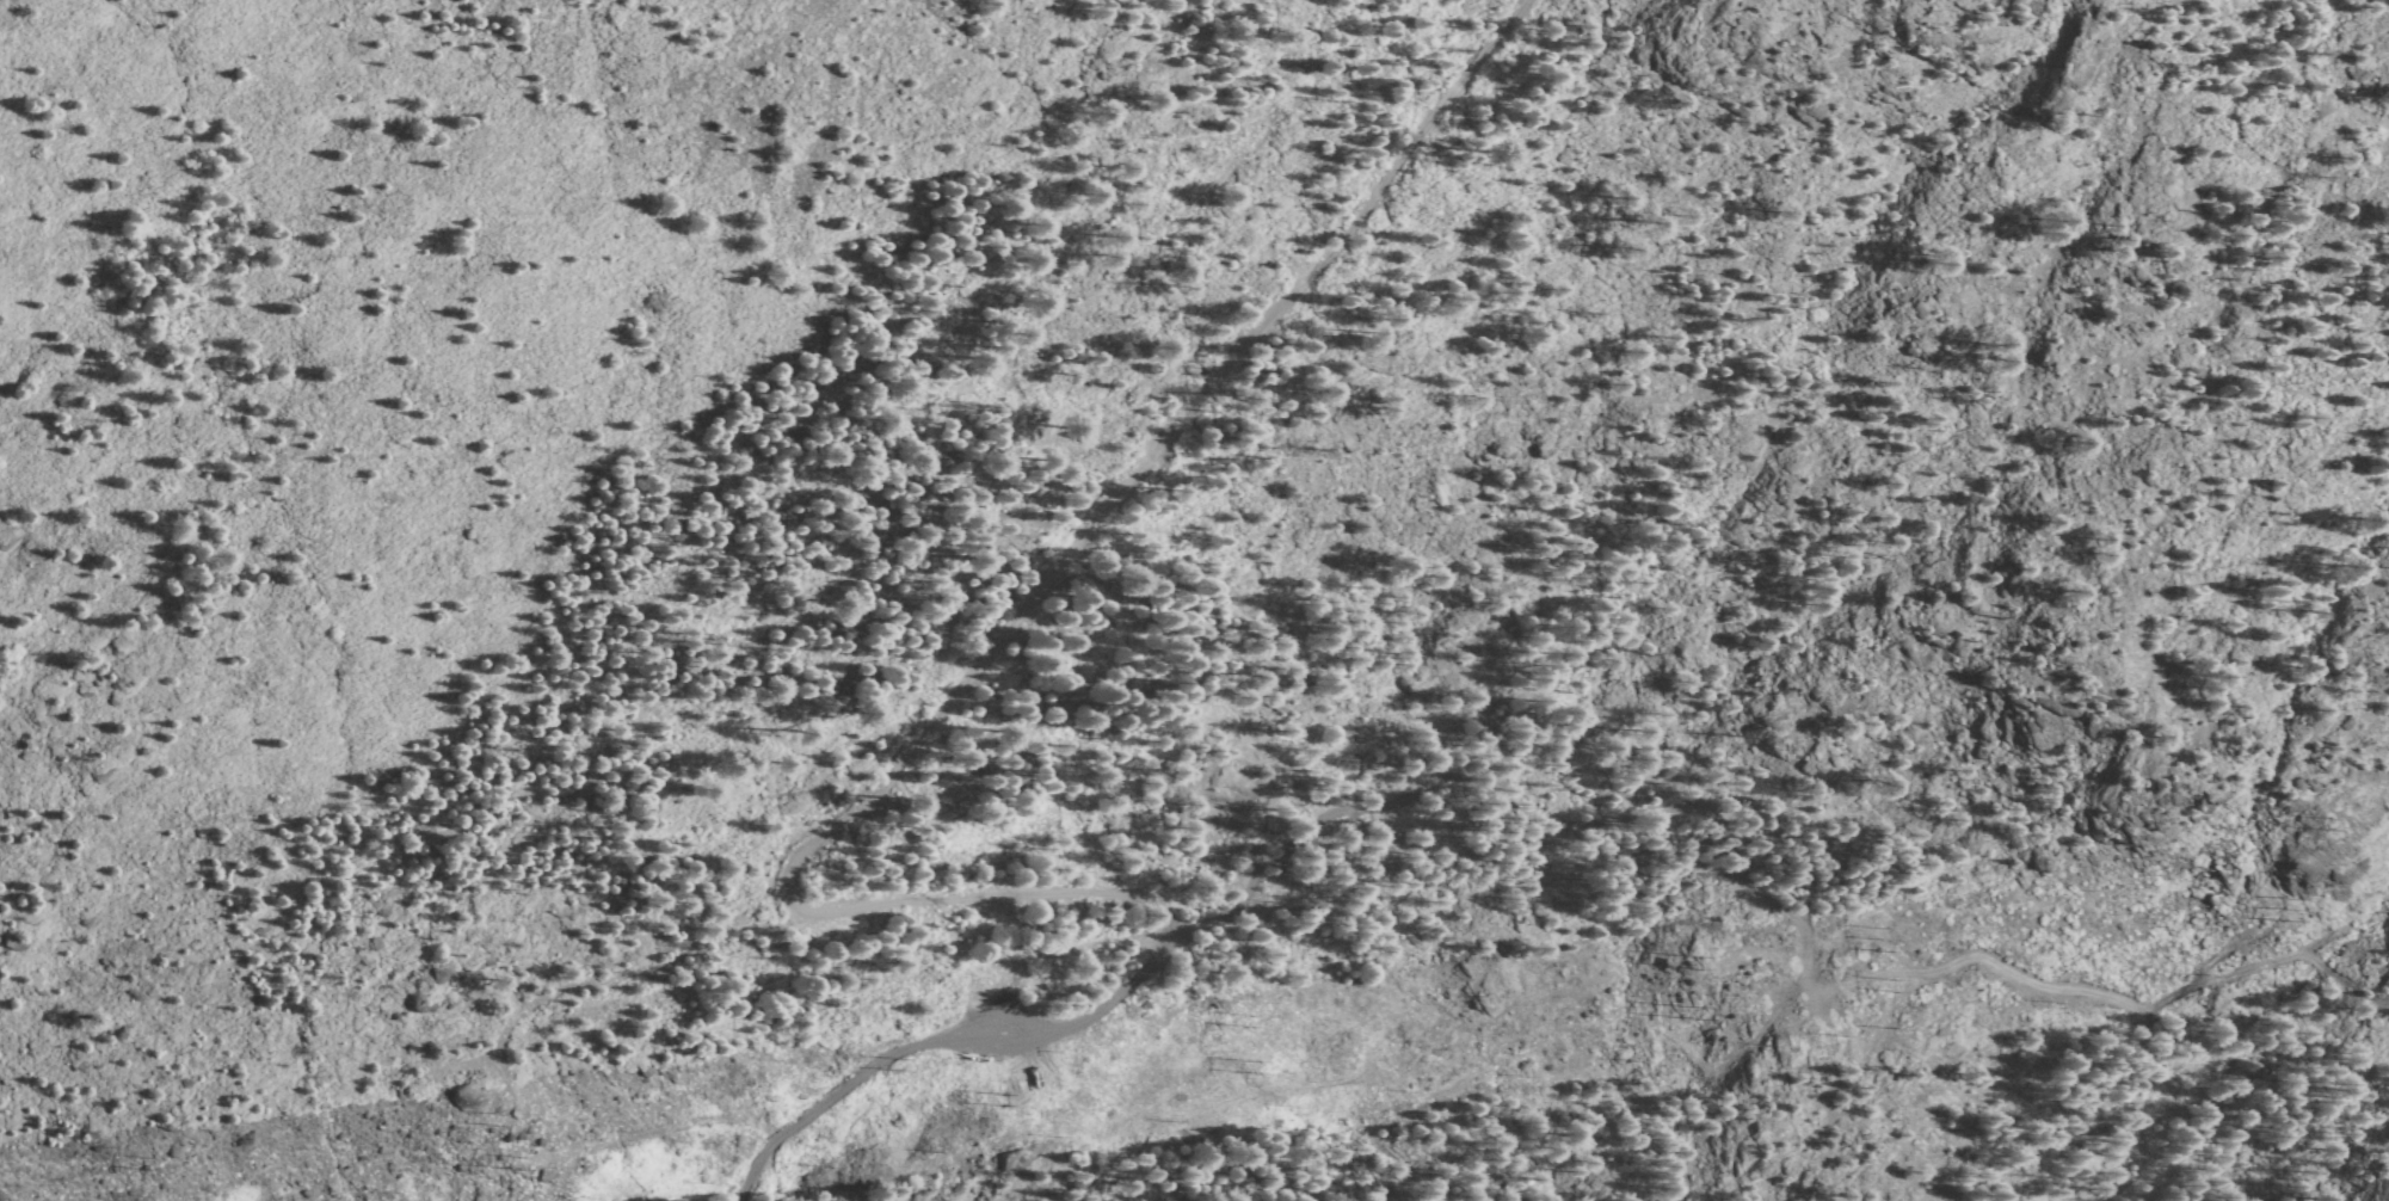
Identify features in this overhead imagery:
road: (801, 789)
power tower: (2314, 823)
power tower: (2278, 907)
power tower: (1874, 940)
power tower: (1688, 961)
power tower: (1886, 985)
power tower: (1692, 1012)
power tower: (1243, 1020)
power tower: (901, 1066)
power tower: (1251, 1067)
power tower: (996, 1102)
power tower: (161, 1160)

